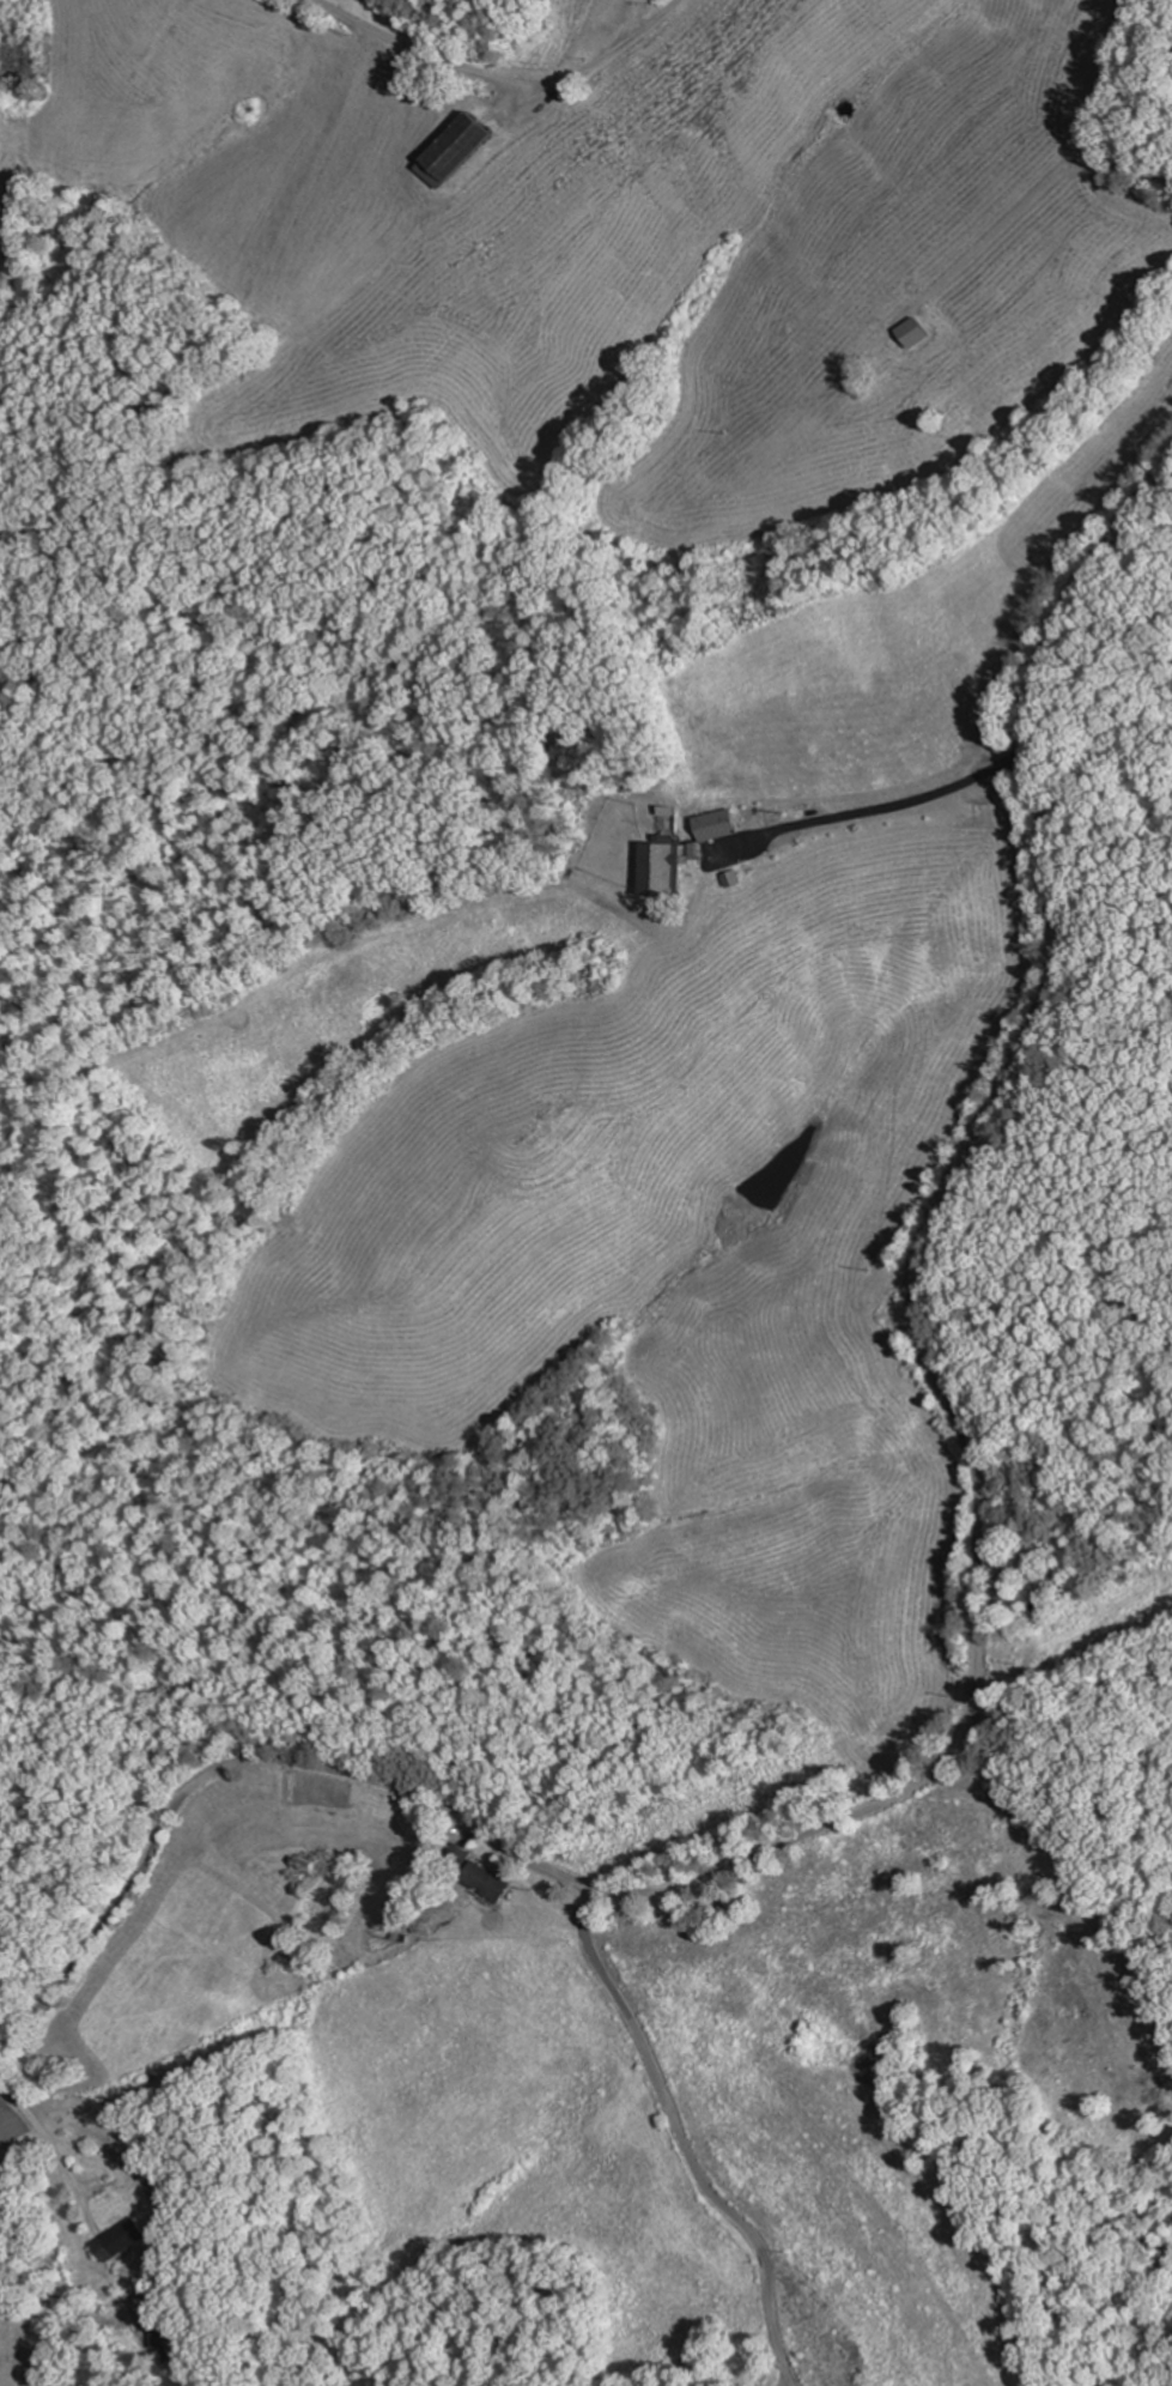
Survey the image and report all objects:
road: (508, 79)
road: (1098, 113)
building: (459, 146)
road: (882, 806)
road: (917, 1279)
road: (236, 1768)
building: (455, 1857)
building: (482, 1882)
road: (685, 2140)
road: (56, 2144)
building: (117, 2239)
road: (793, 2384)

